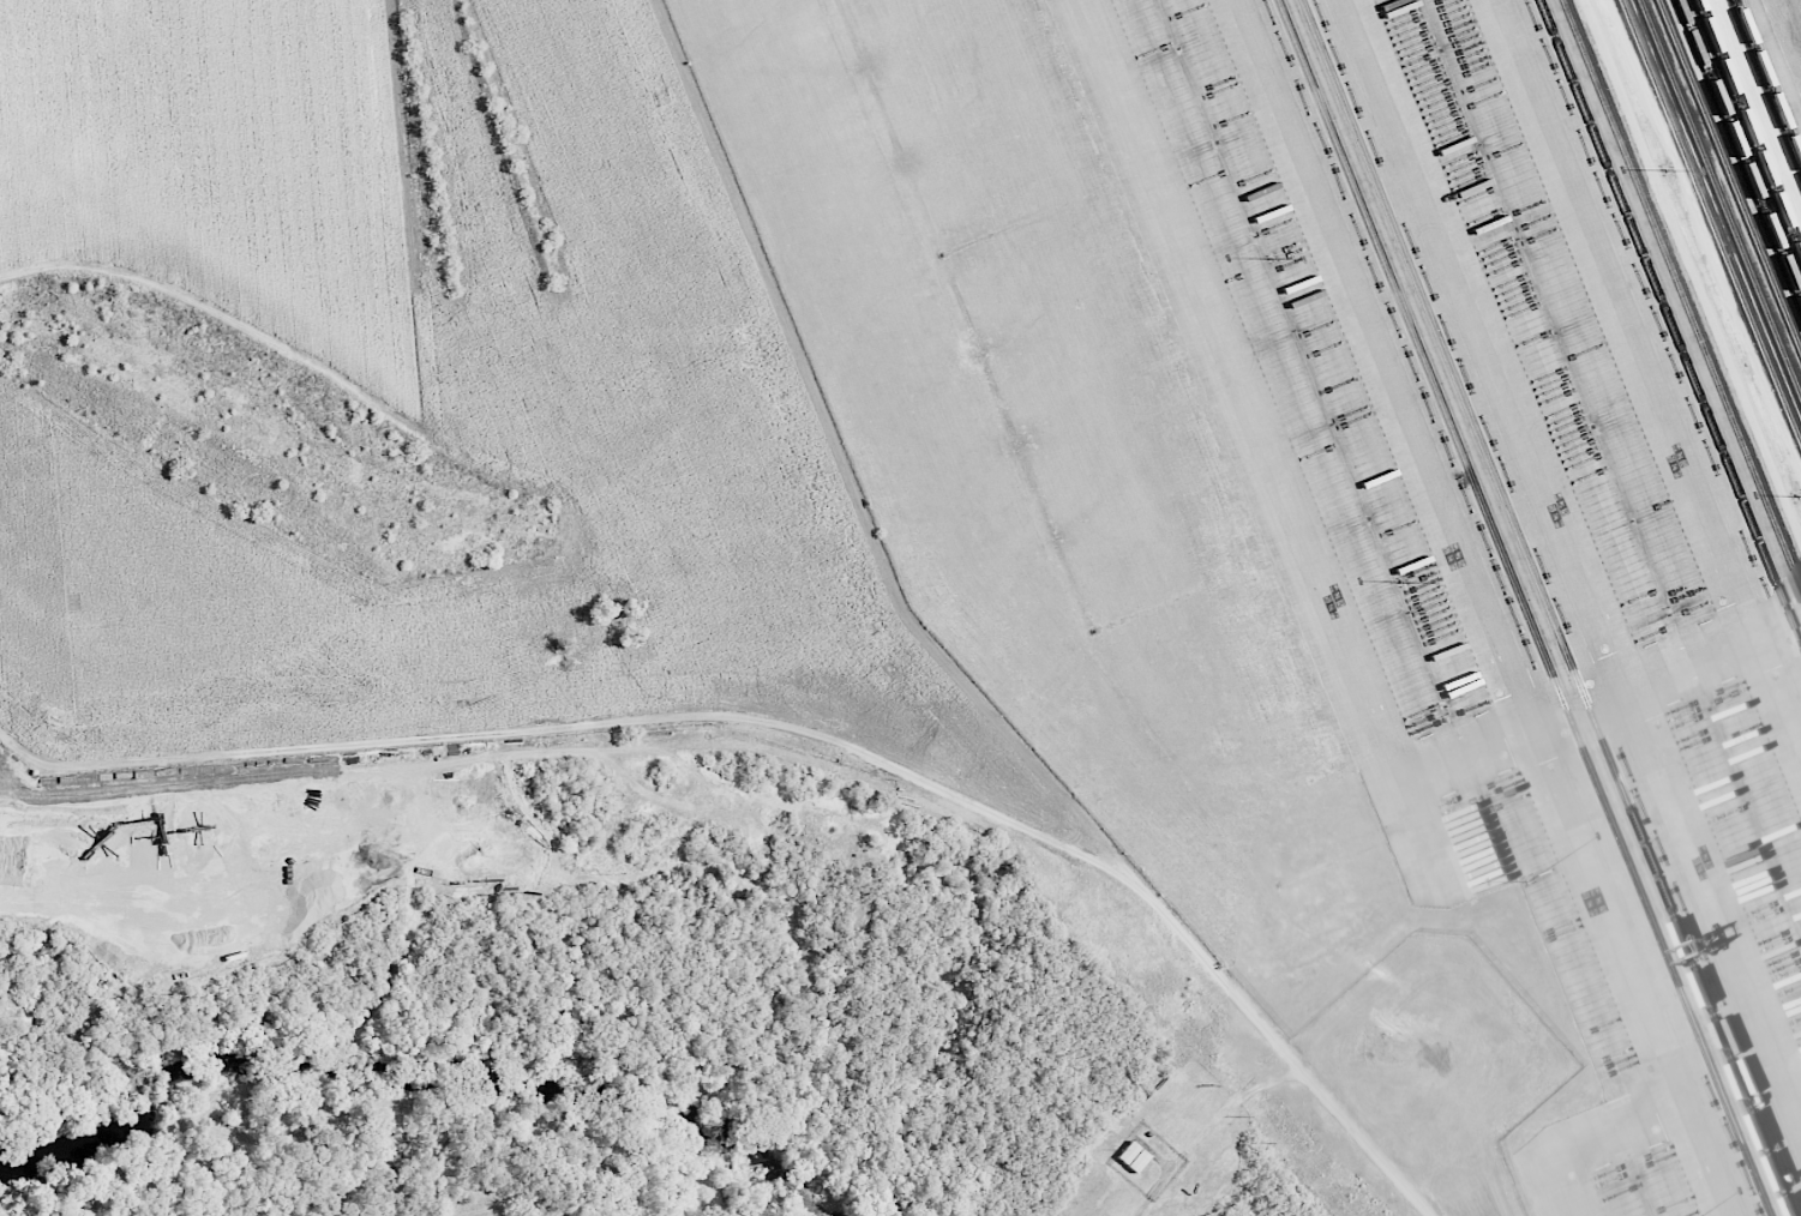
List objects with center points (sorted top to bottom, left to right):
railway: (1767, 79)
railway: (1749, 126)
railway: (1737, 153)
railway: (1729, 175)
railway: (1719, 198)
railway: (1711, 218)
railway: (1670, 320)
railway: (1658, 350)
railway: (1645, 381)
road: (20, 409)
railway: (1526, 608)
railway: (1548, 608)
road: (22, 753)
road: (798, 757)
road: (529, 839)
river: (306, 1064)
road: (1237, 1101)
building: (1130, 1156)
river: (719, 1187)

